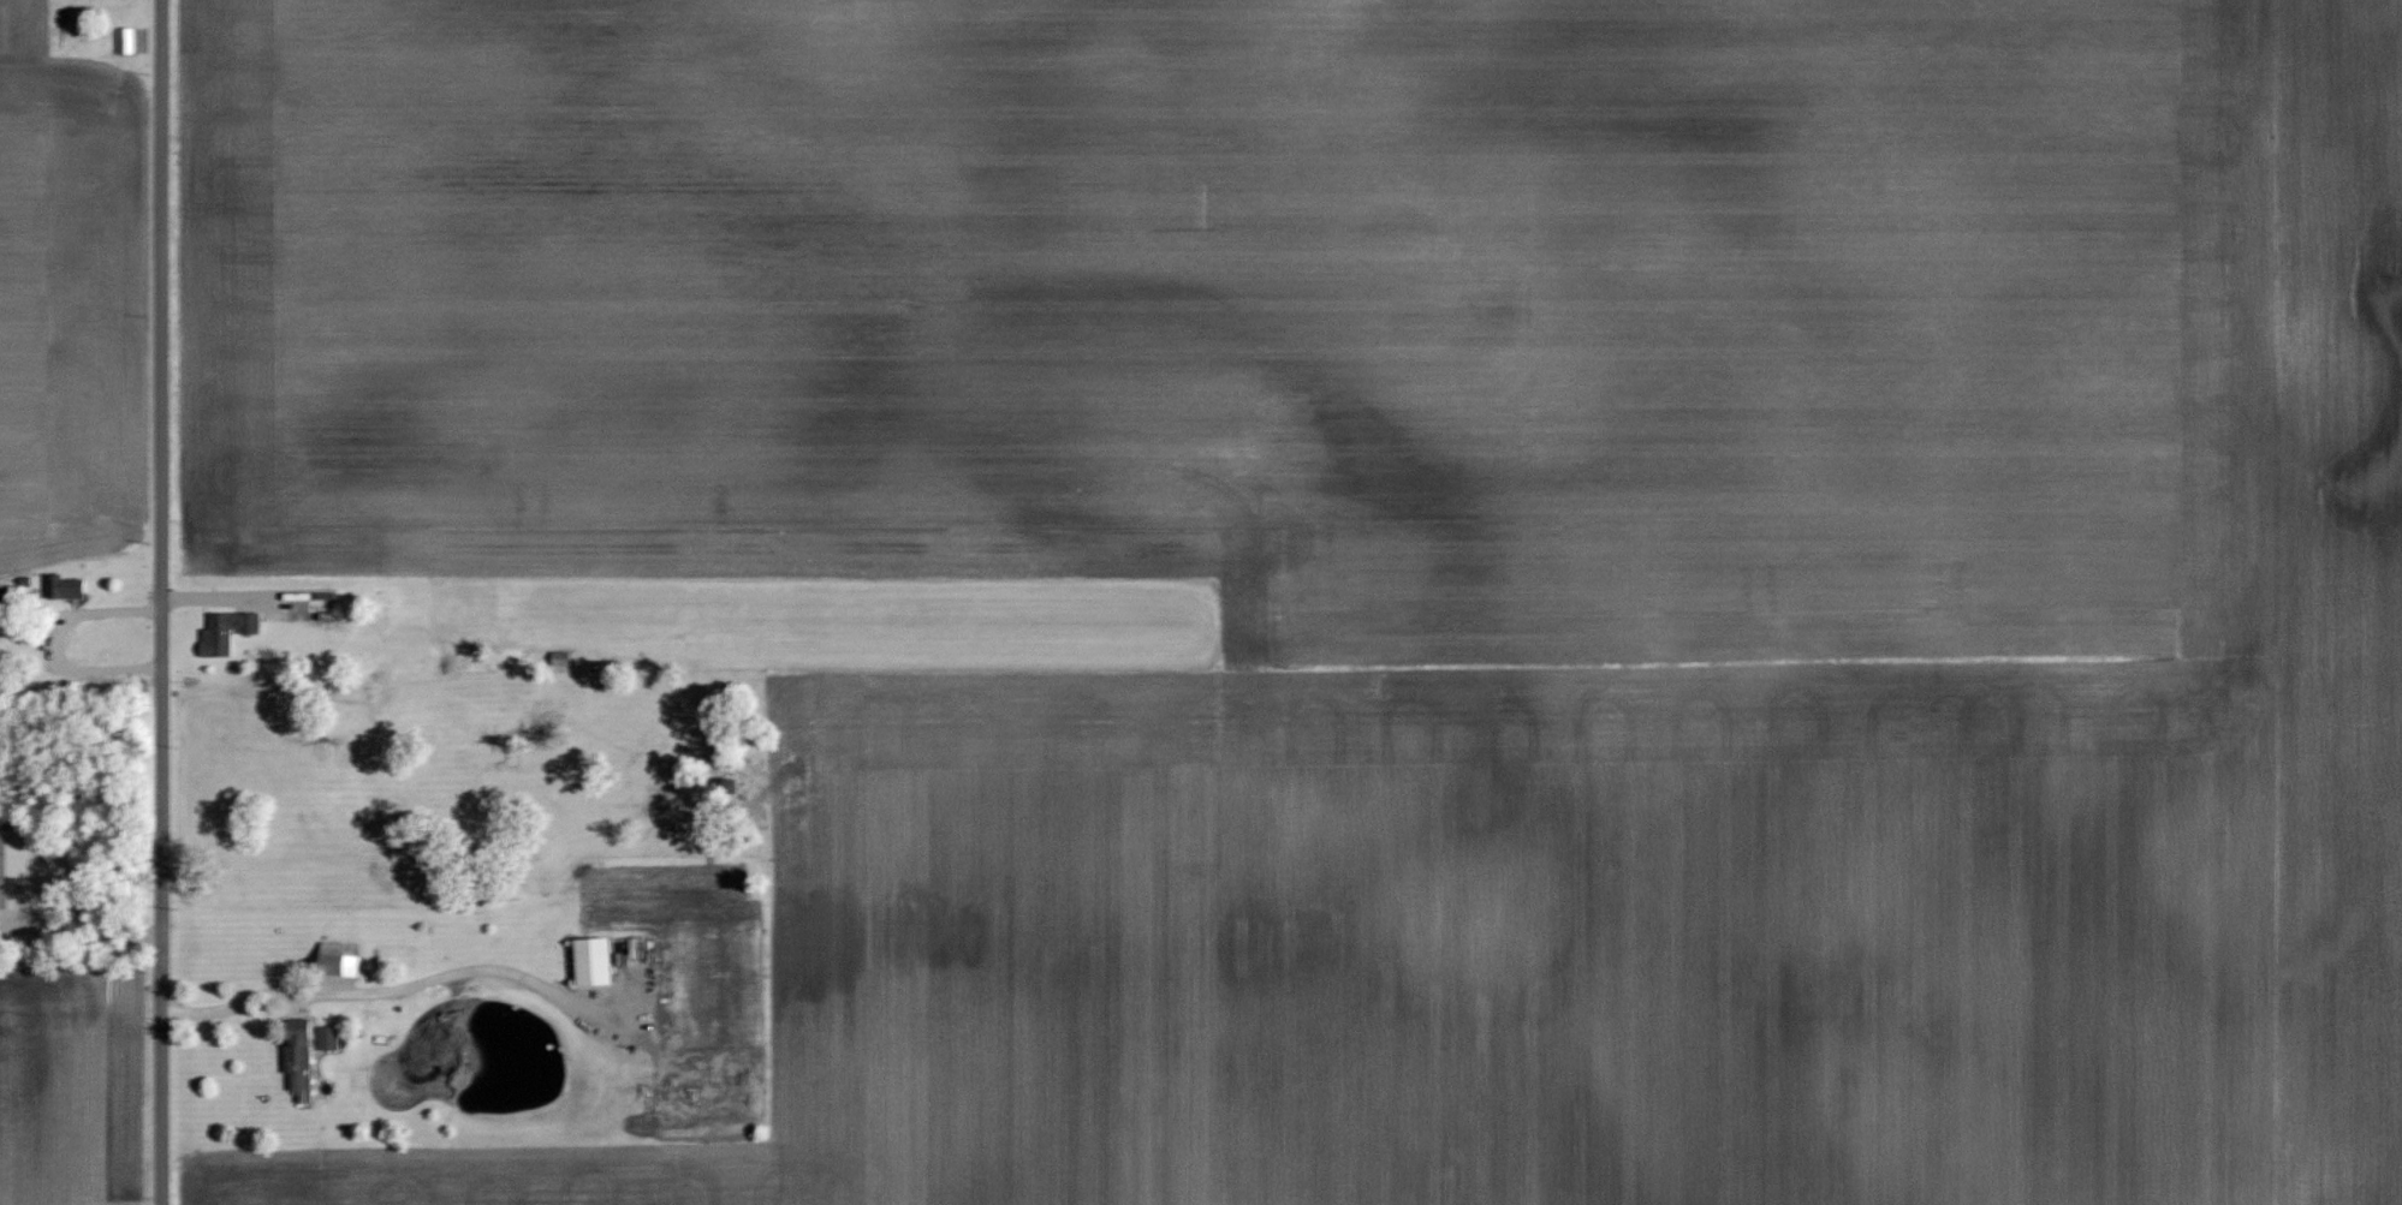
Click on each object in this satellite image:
building: (125, 40)
building: (65, 585)
road: (162, 602)
building: (226, 630)
building: (14, 872)
building: (339, 956)
building: (591, 960)
building: (327, 1036)

